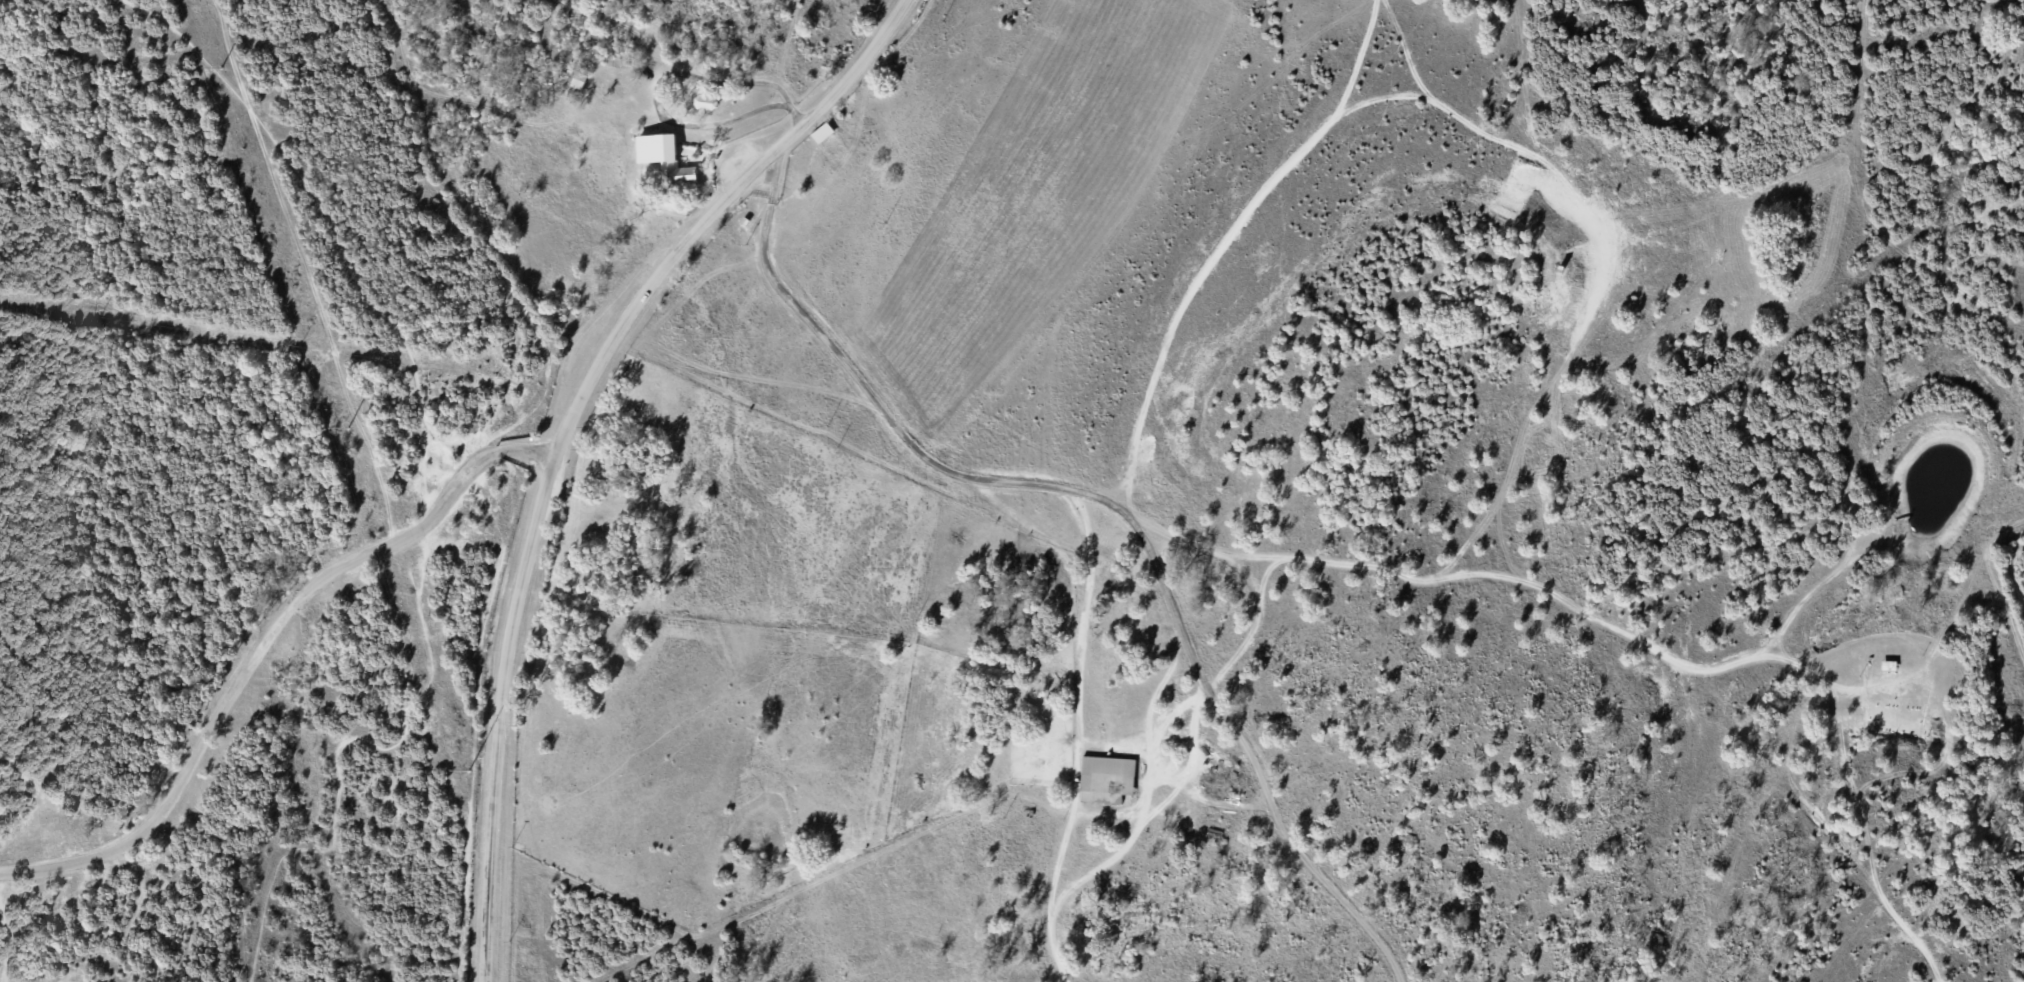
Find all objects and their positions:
power tower: (219, 69)
road: (658, 79)
building: (666, 158)
power tower: (346, 429)
road: (565, 434)
road: (262, 642)
power tower: (468, 772)
building: (1107, 779)

